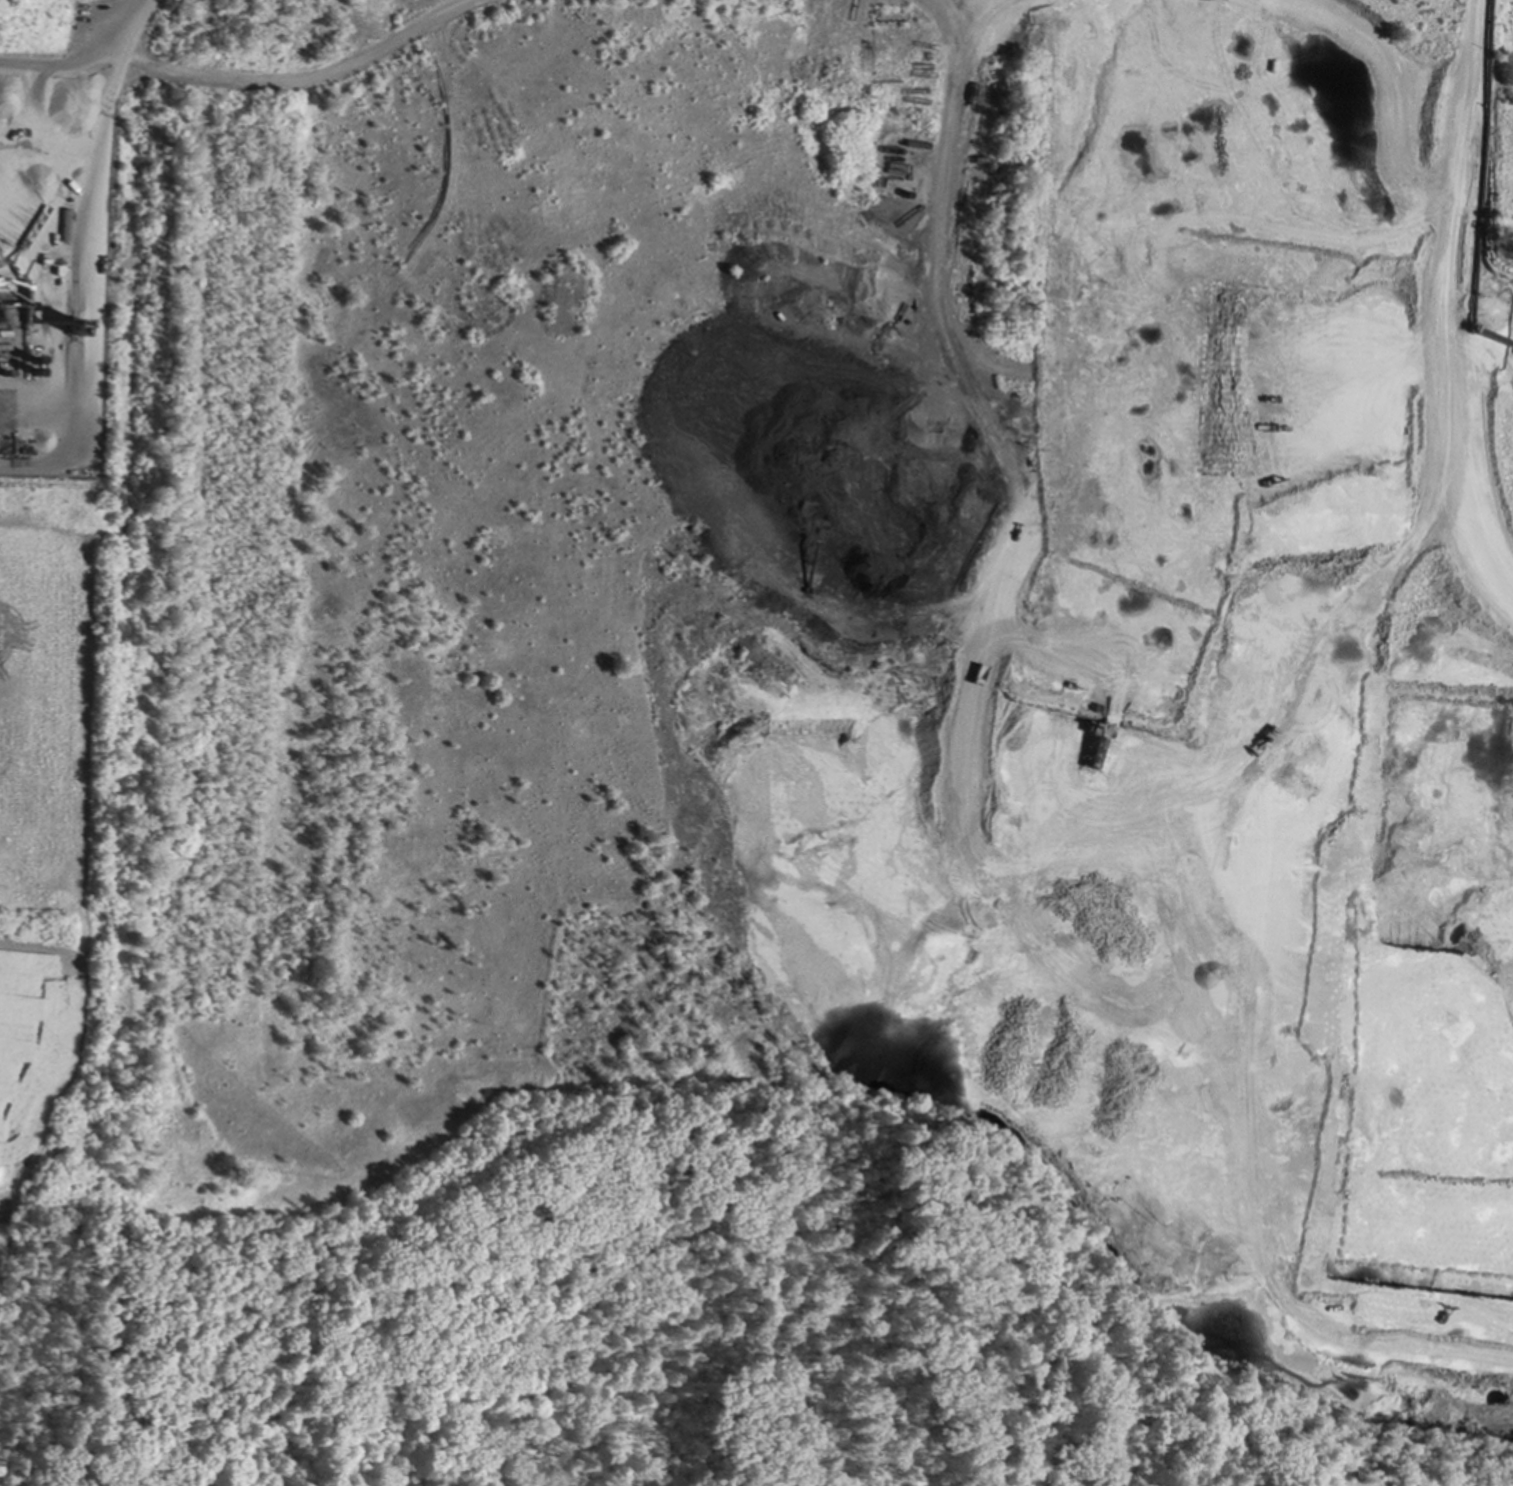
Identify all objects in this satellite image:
road: (133, 27)
road: (61, 64)
road: (93, 289)
quarry: (756, 743)
crop: (39, 835)

